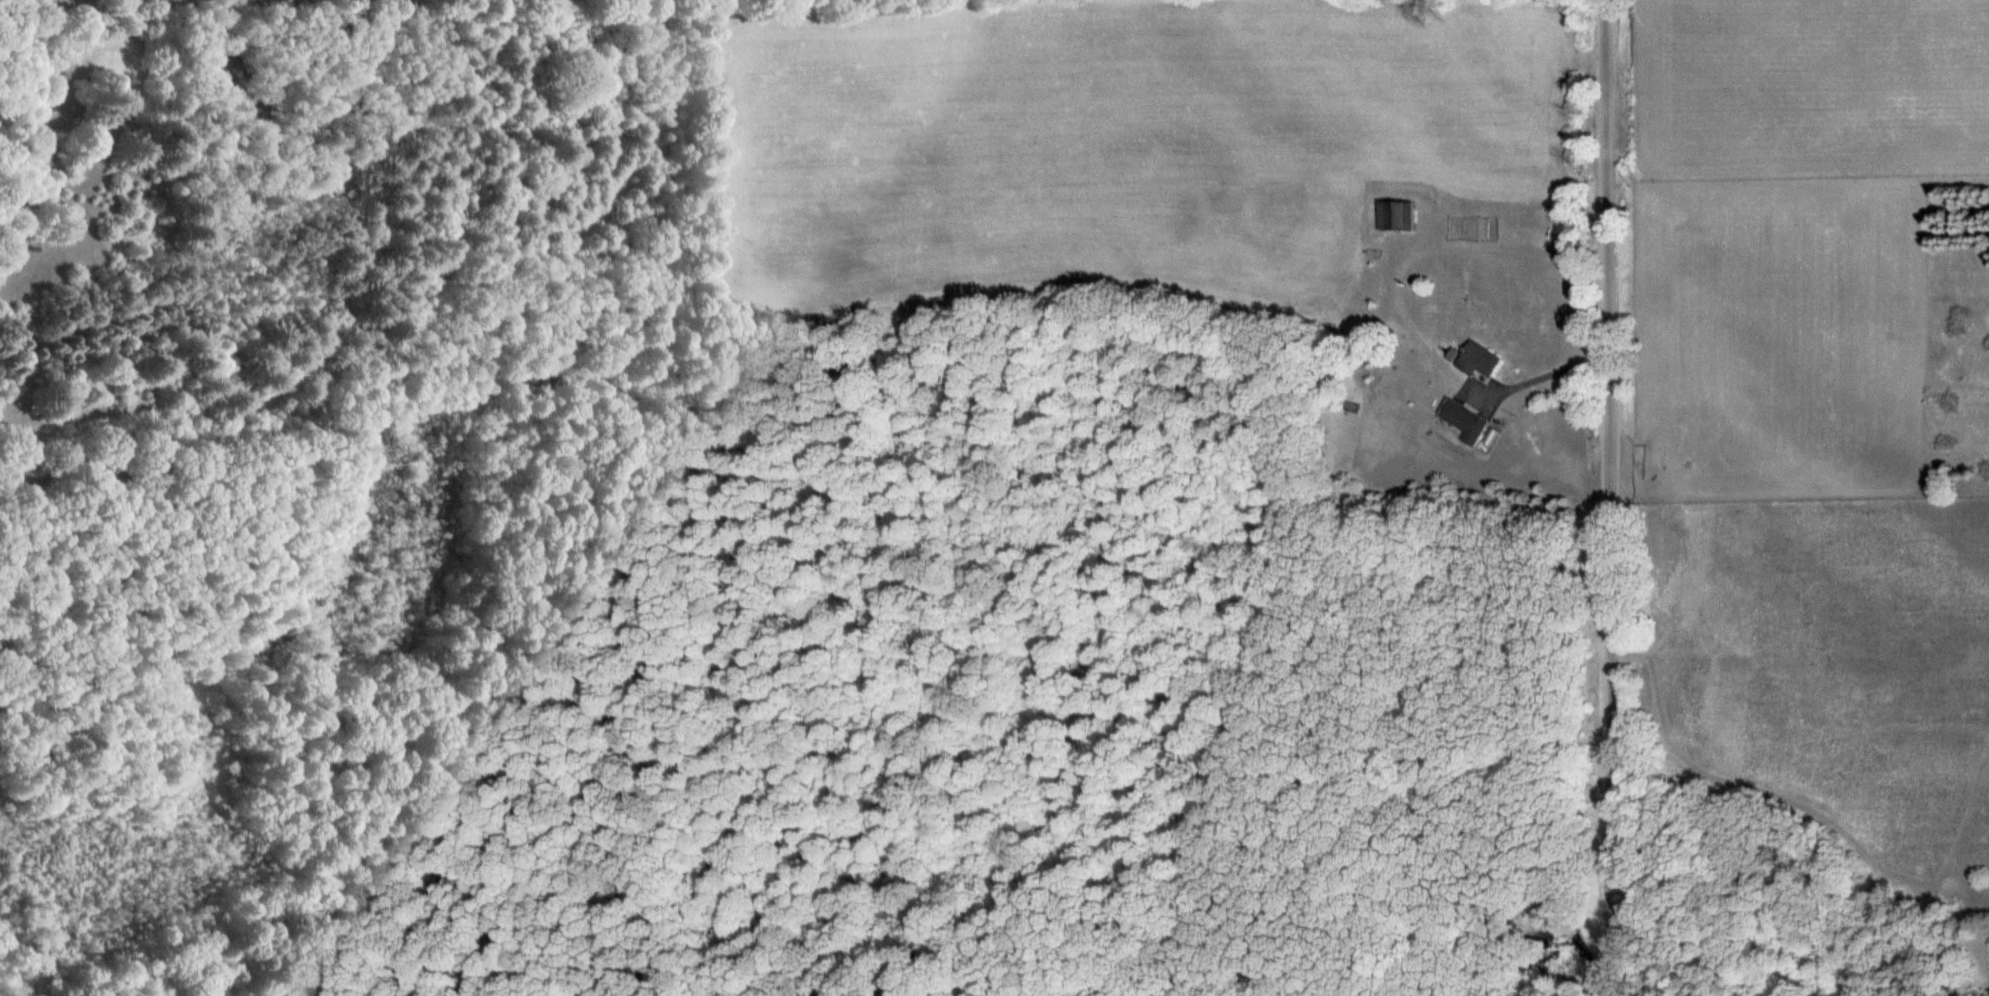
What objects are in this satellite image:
building: (1394, 216)
building: (1476, 361)
building: (1463, 423)
road: (1611, 498)

